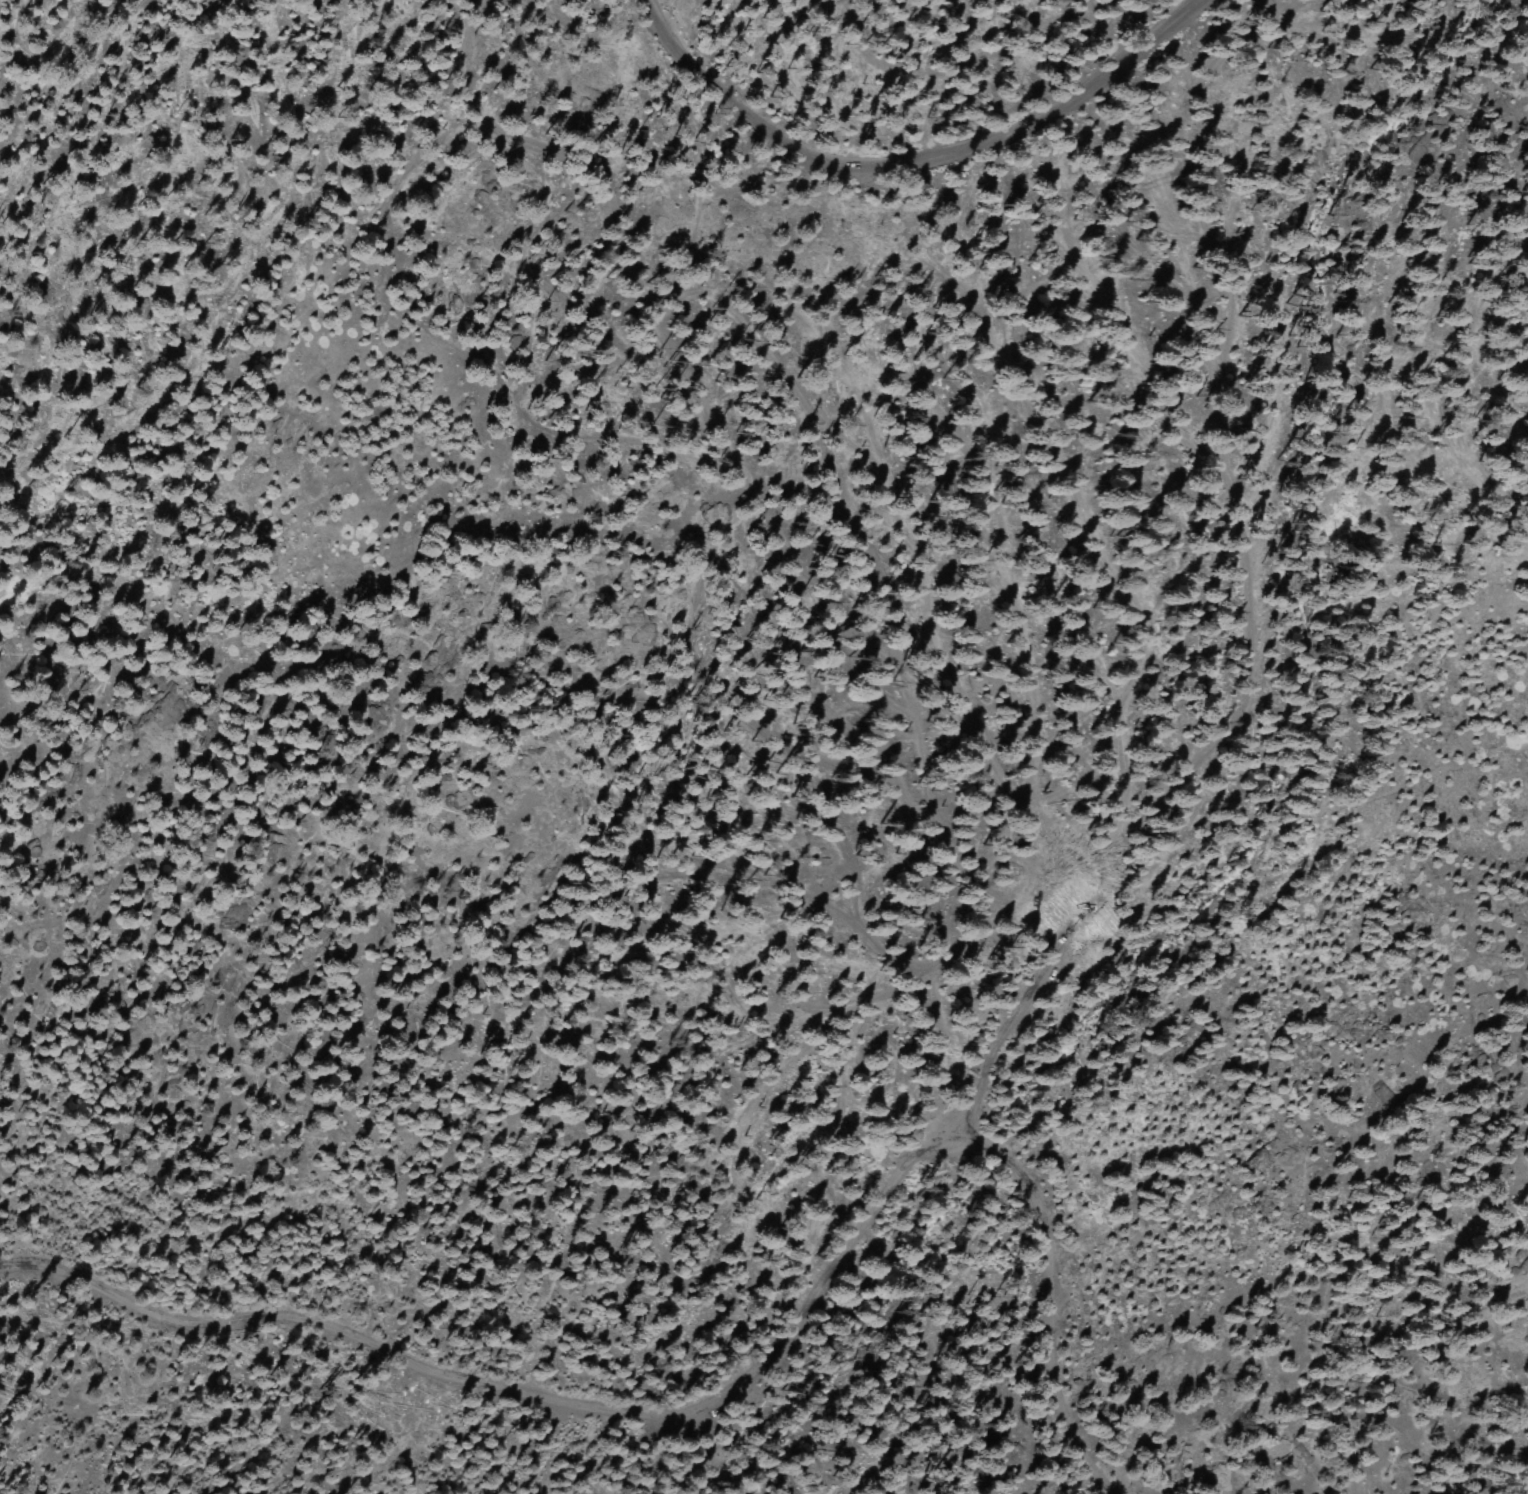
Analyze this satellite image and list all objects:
road: (912, 165)
road: (969, 1224)
road: (735, 1394)

